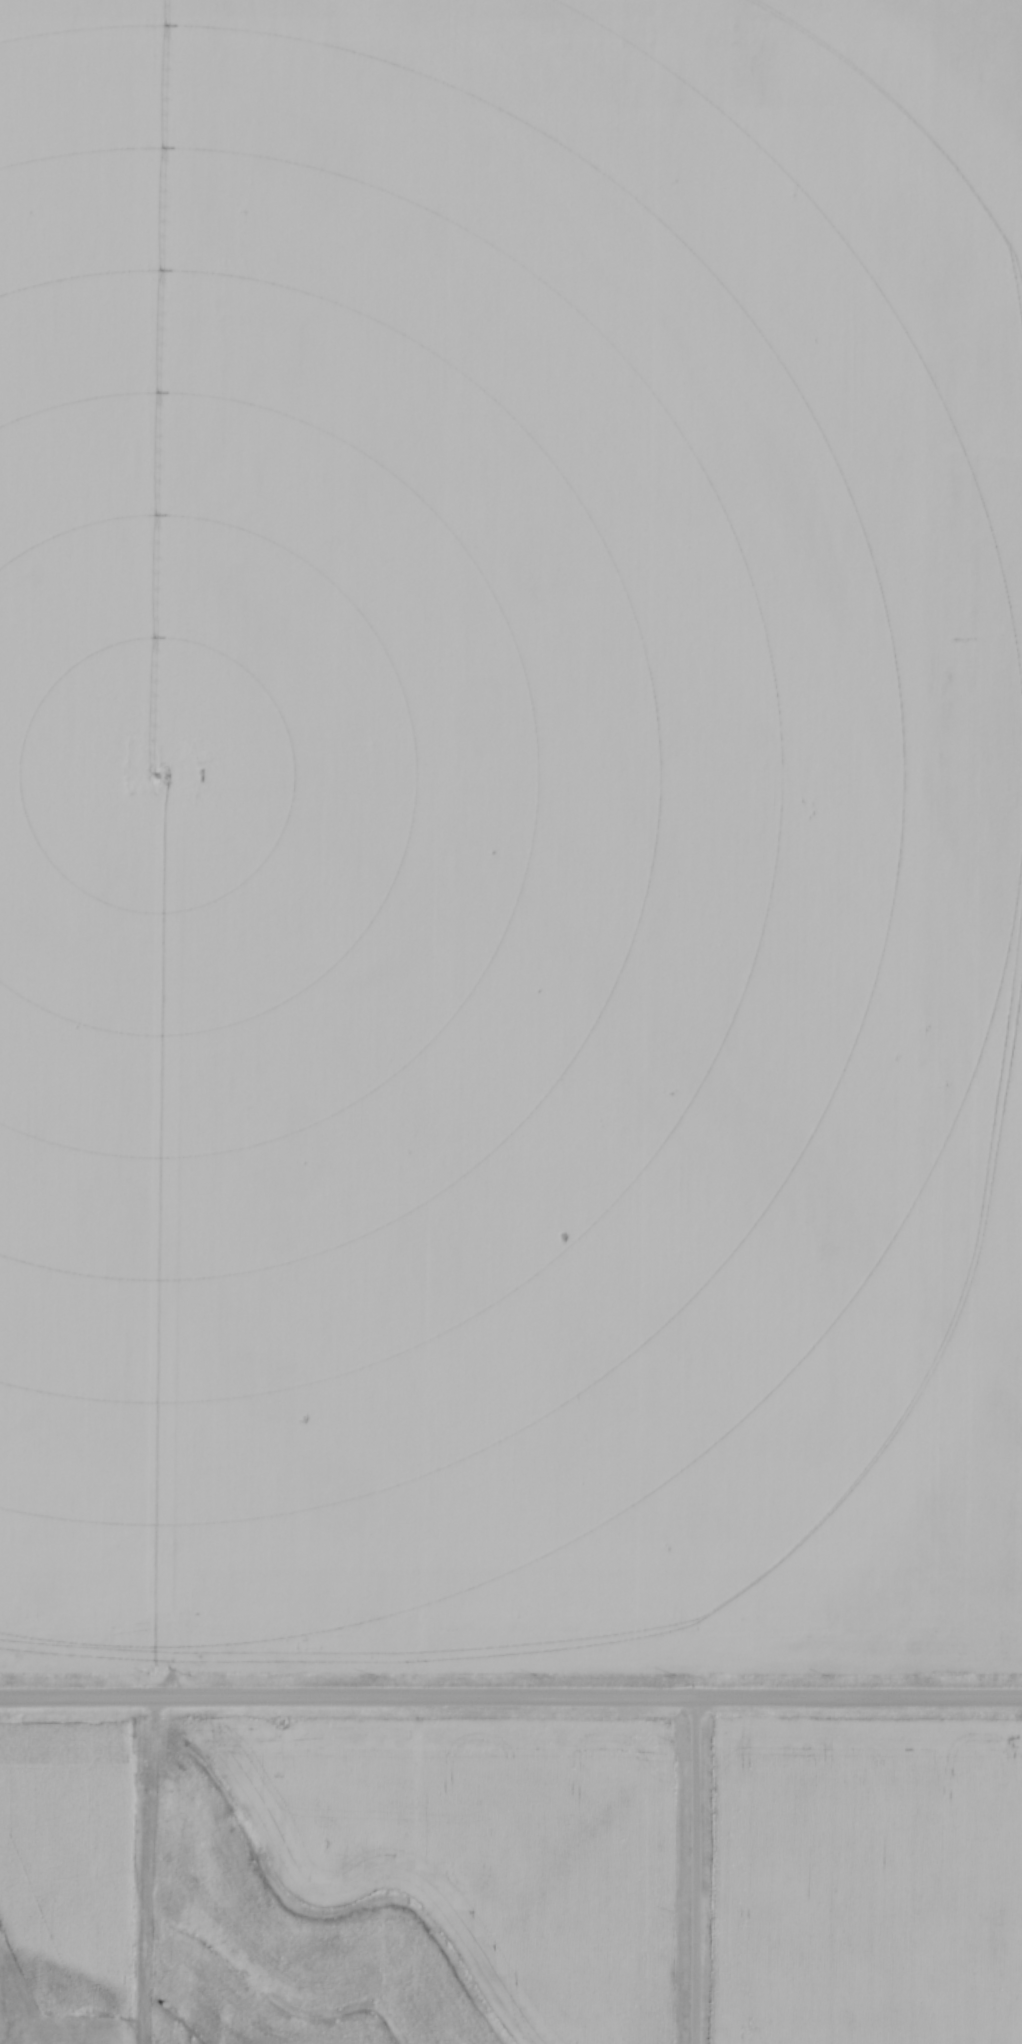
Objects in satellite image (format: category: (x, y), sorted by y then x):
road: (511, 1702)
road: (695, 1873)

